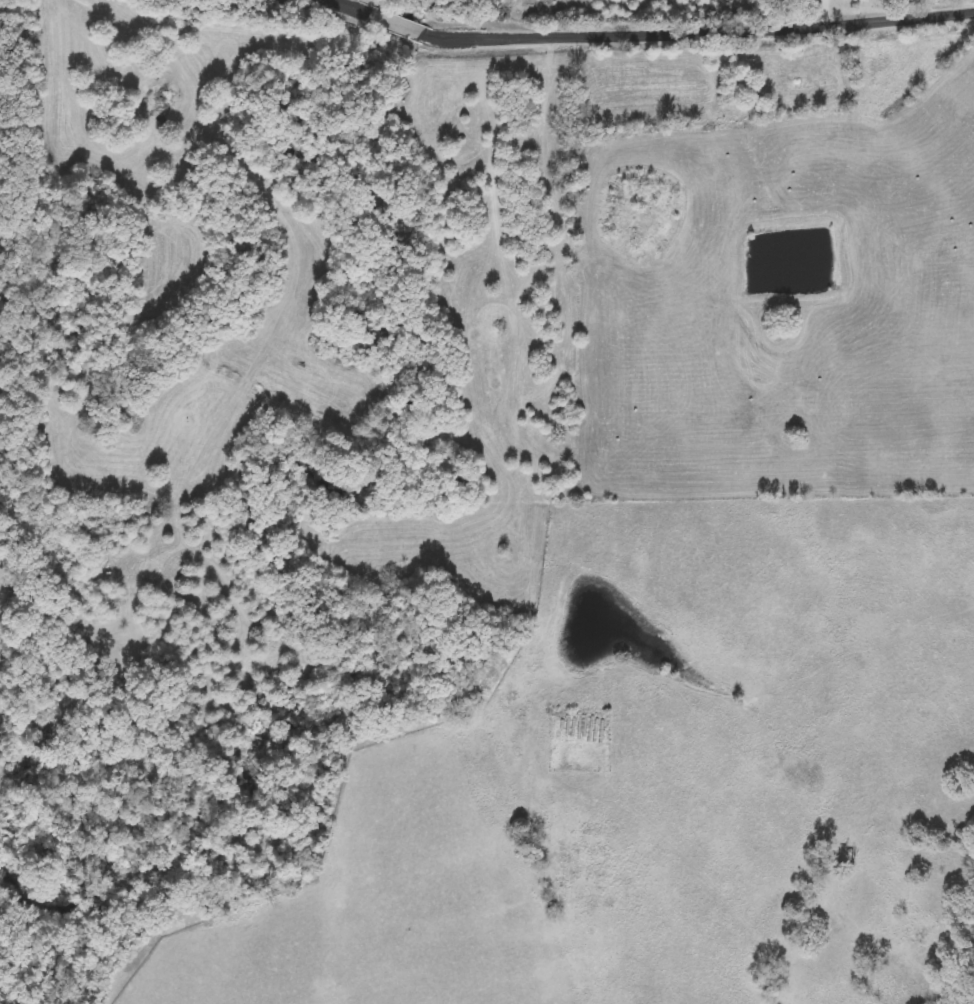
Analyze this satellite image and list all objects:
road: (926, 7)
road: (661, 32)
building: (531, 127)

